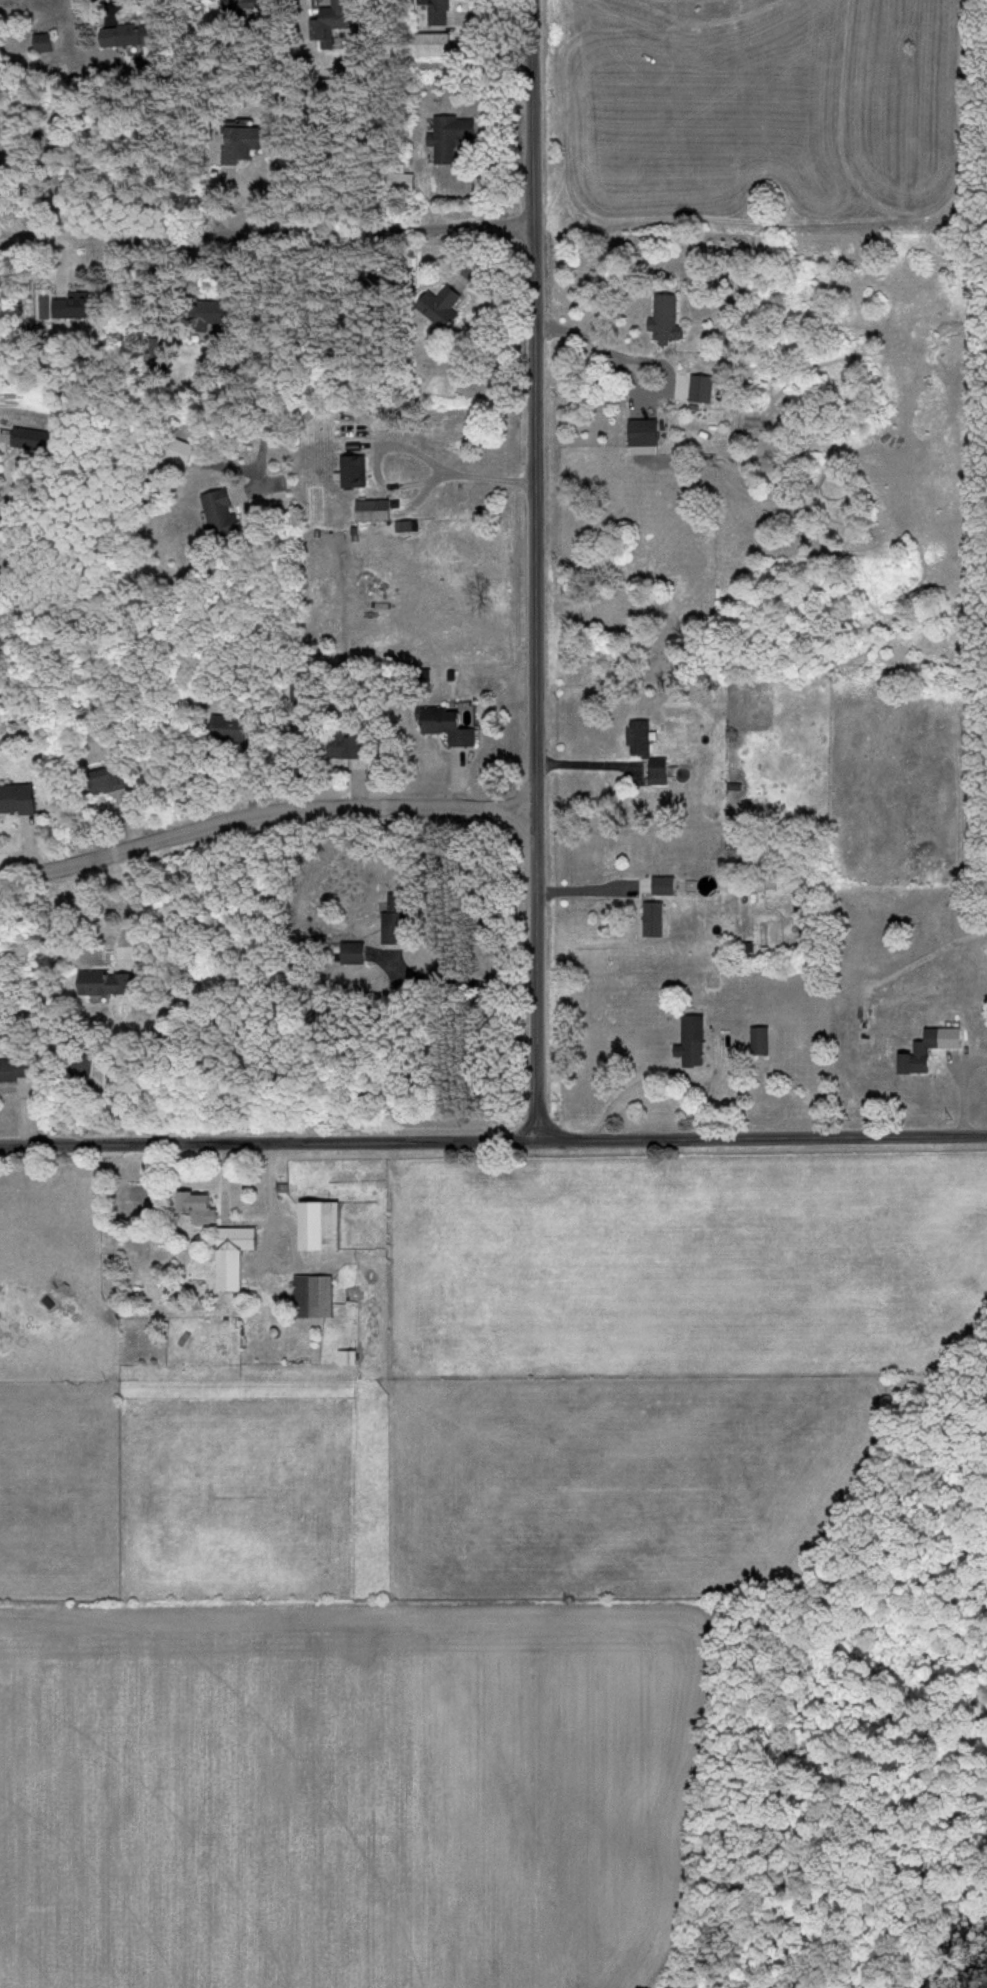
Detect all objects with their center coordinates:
building: (245, 7)
building: (439, 12)
building: (333, 24)
building: (130, 36)
building: (47, 43)
building: (438, 46)
building: (454, 137)
building: (245, 145)
road: (267, 246)
building: (83, 308)
building: (442, 310)
building: (211, 315)
building: (668, 320)
road: (641, 355)
building: (702, 390)
building: (647, 433)
building: (37, 441)
road: (416, 451)
building: (357, 473)
building: (377, 511)
building: (224, 515)
road: (540, 571)
building: (453, 728)
building: (232, 731)
building: (642, 740)
building: (353, 748)
building: (661, 773)
building: (112, 782)
building: (20, 800)
road: (267, 816)
road: (137, 897)
building: (655, 920)
building: (355, 954)
building: (109, 984)
building: (764, 1041)
building: (695, 1042)
building: (933, 1049)
building: (83, 1067)
building: (16, 1070)
road: (493, 1143)
building: (140, 1197)
building: (199, 1207)
road: (249, 1223)
building: (324, 1226)
building: (236, 1256)
building: (316, 1297)
building: (350, 1358)

